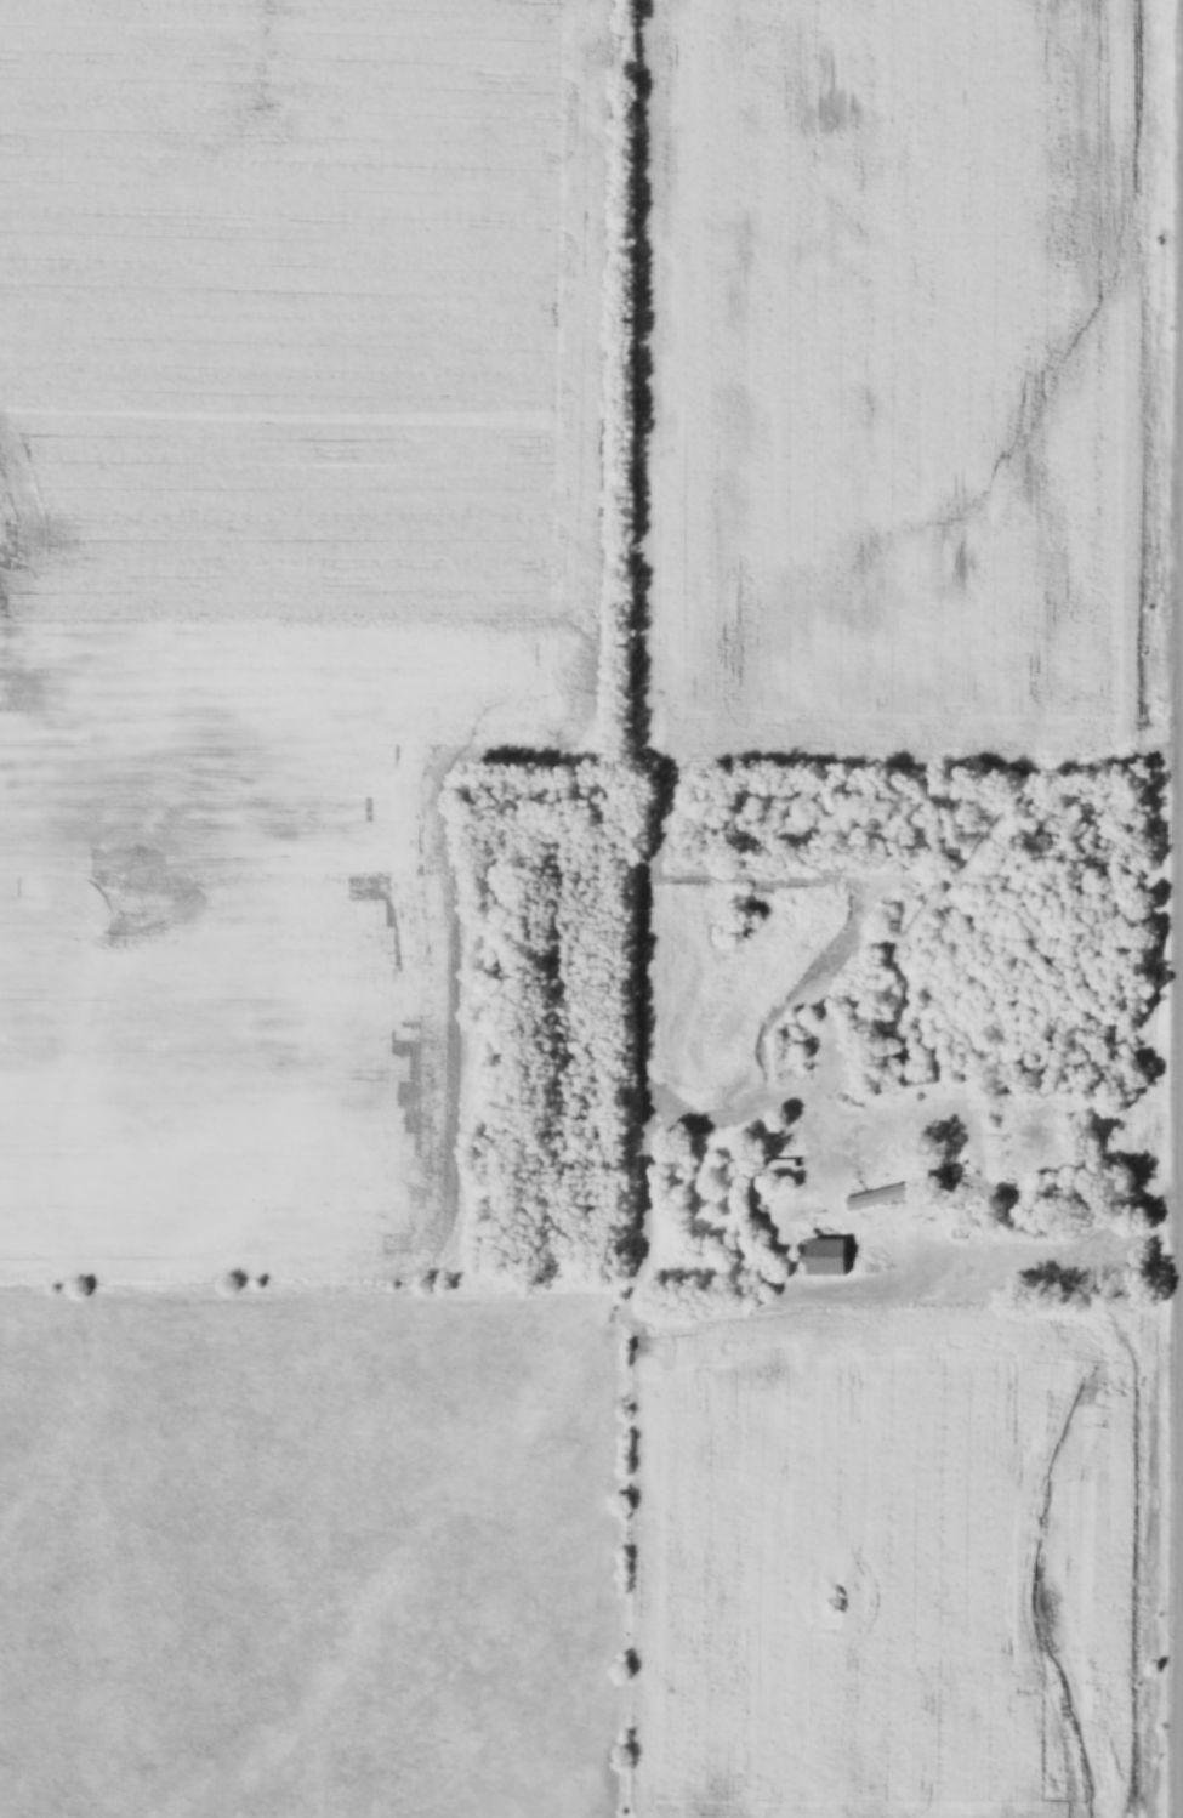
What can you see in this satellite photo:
building: (916, 1080)
building: (1029, 1131)
building: (825, 1257)
road: (1182, 1688)

